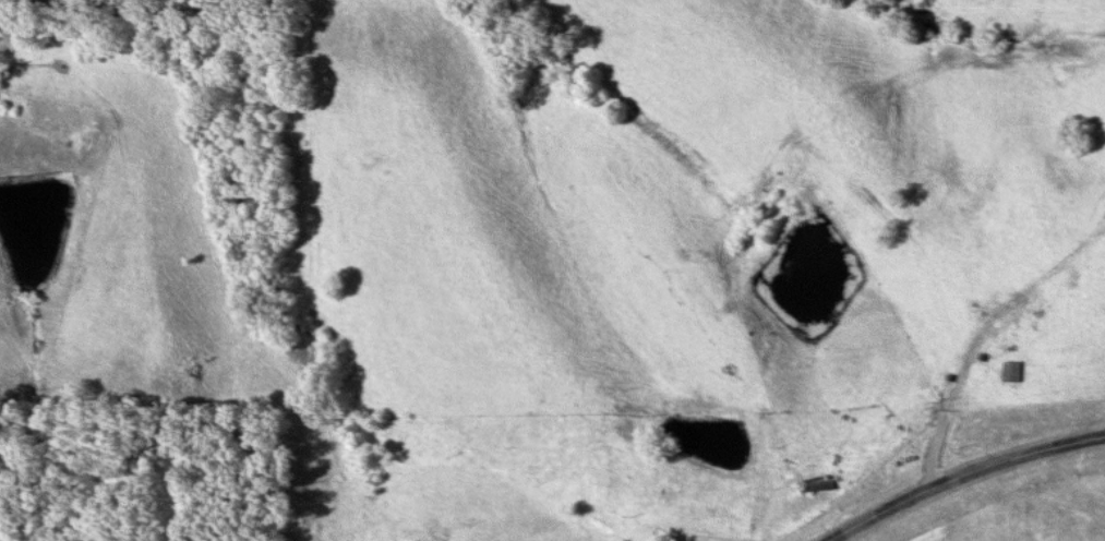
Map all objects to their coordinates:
building: (1012, 373)
road: (948, 424)
road: (958, 471)

